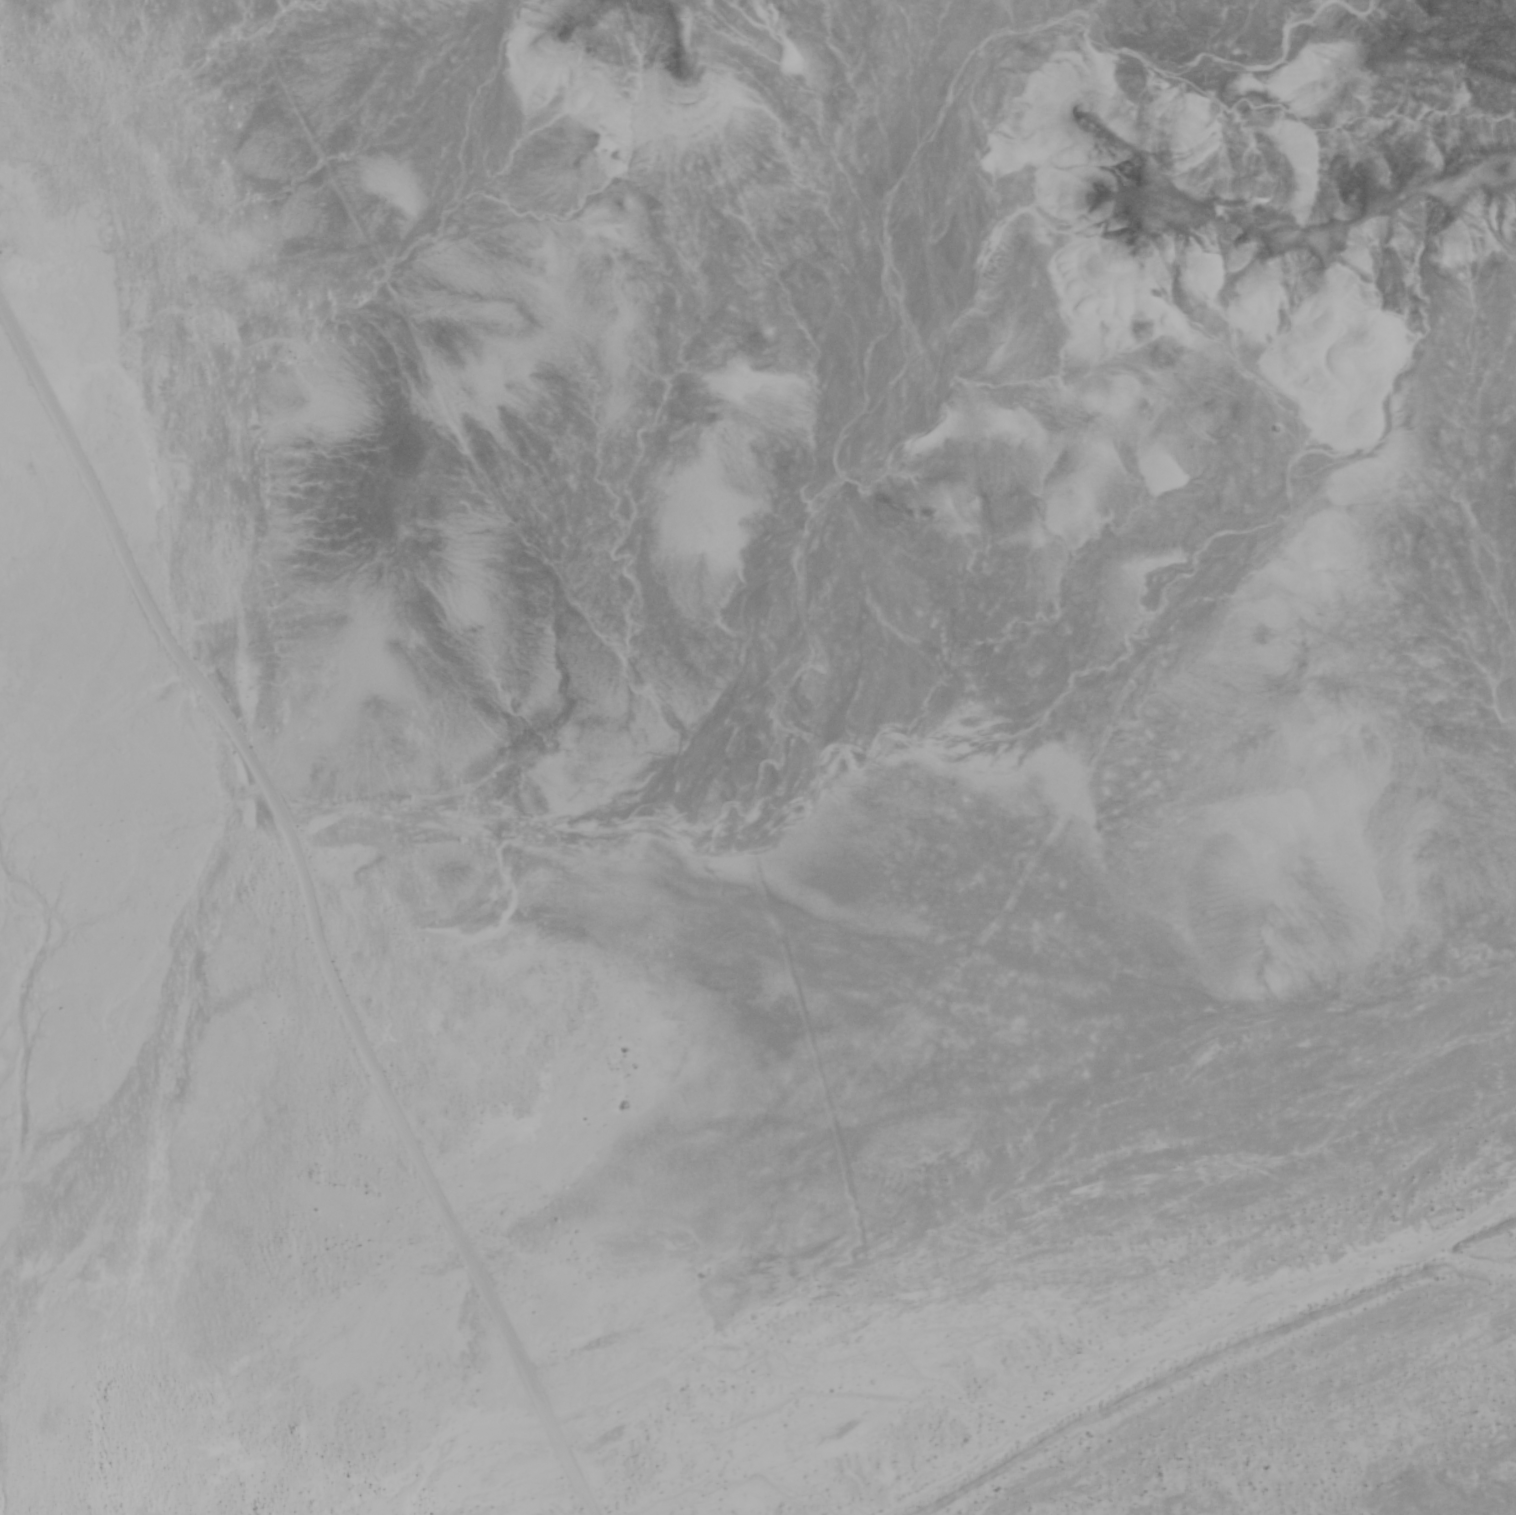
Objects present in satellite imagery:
road: (314, 886)

